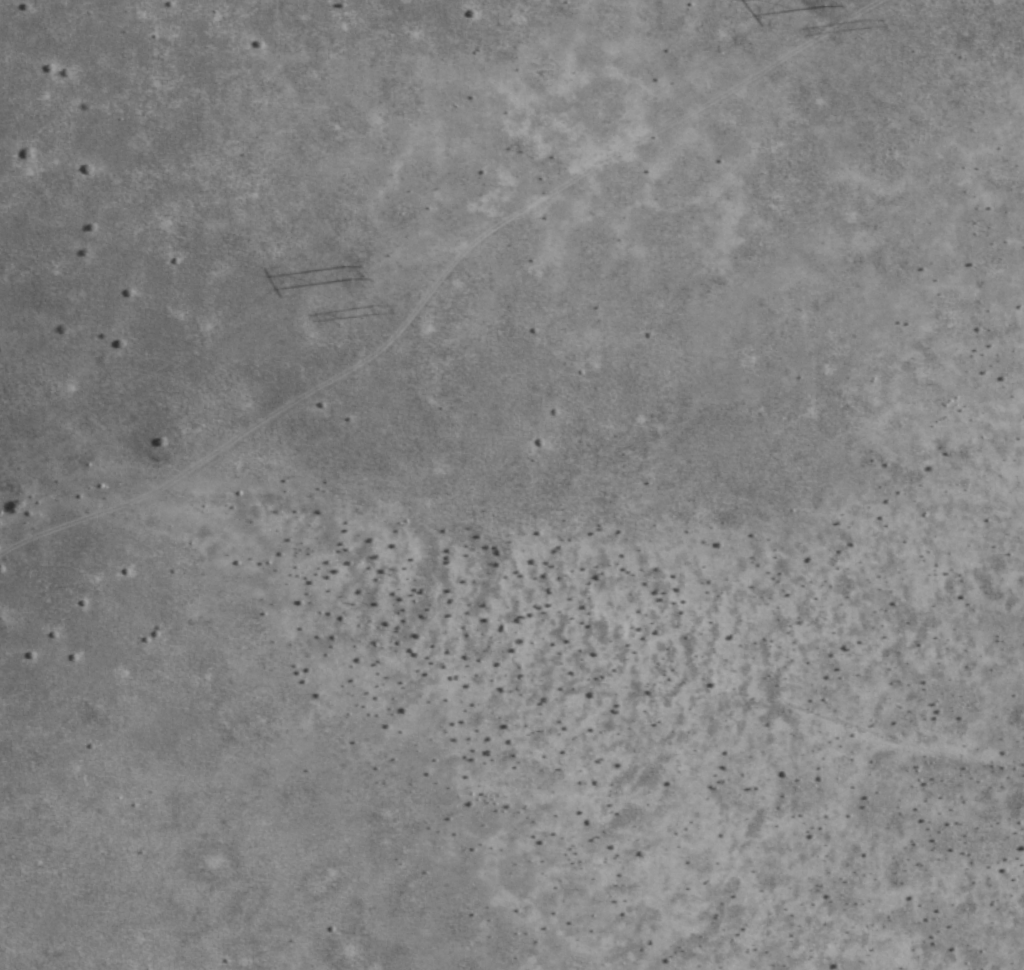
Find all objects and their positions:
power tower: (873, 24)
power tower: (351, 271)
power tower: (379, 308)

